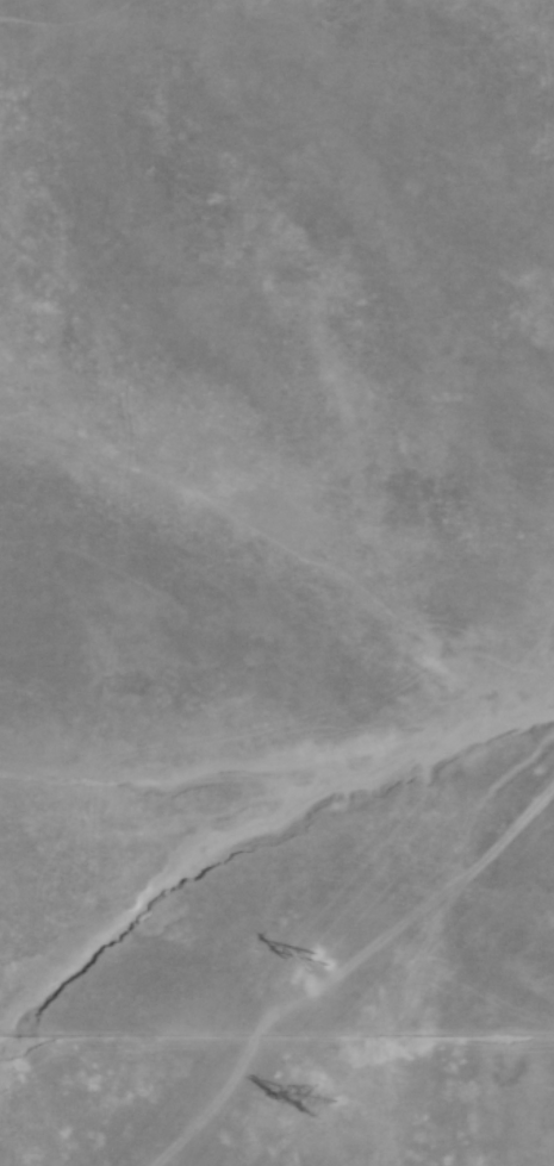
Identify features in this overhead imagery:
power tower: (304, 977)
power tower: (318, 1100)

